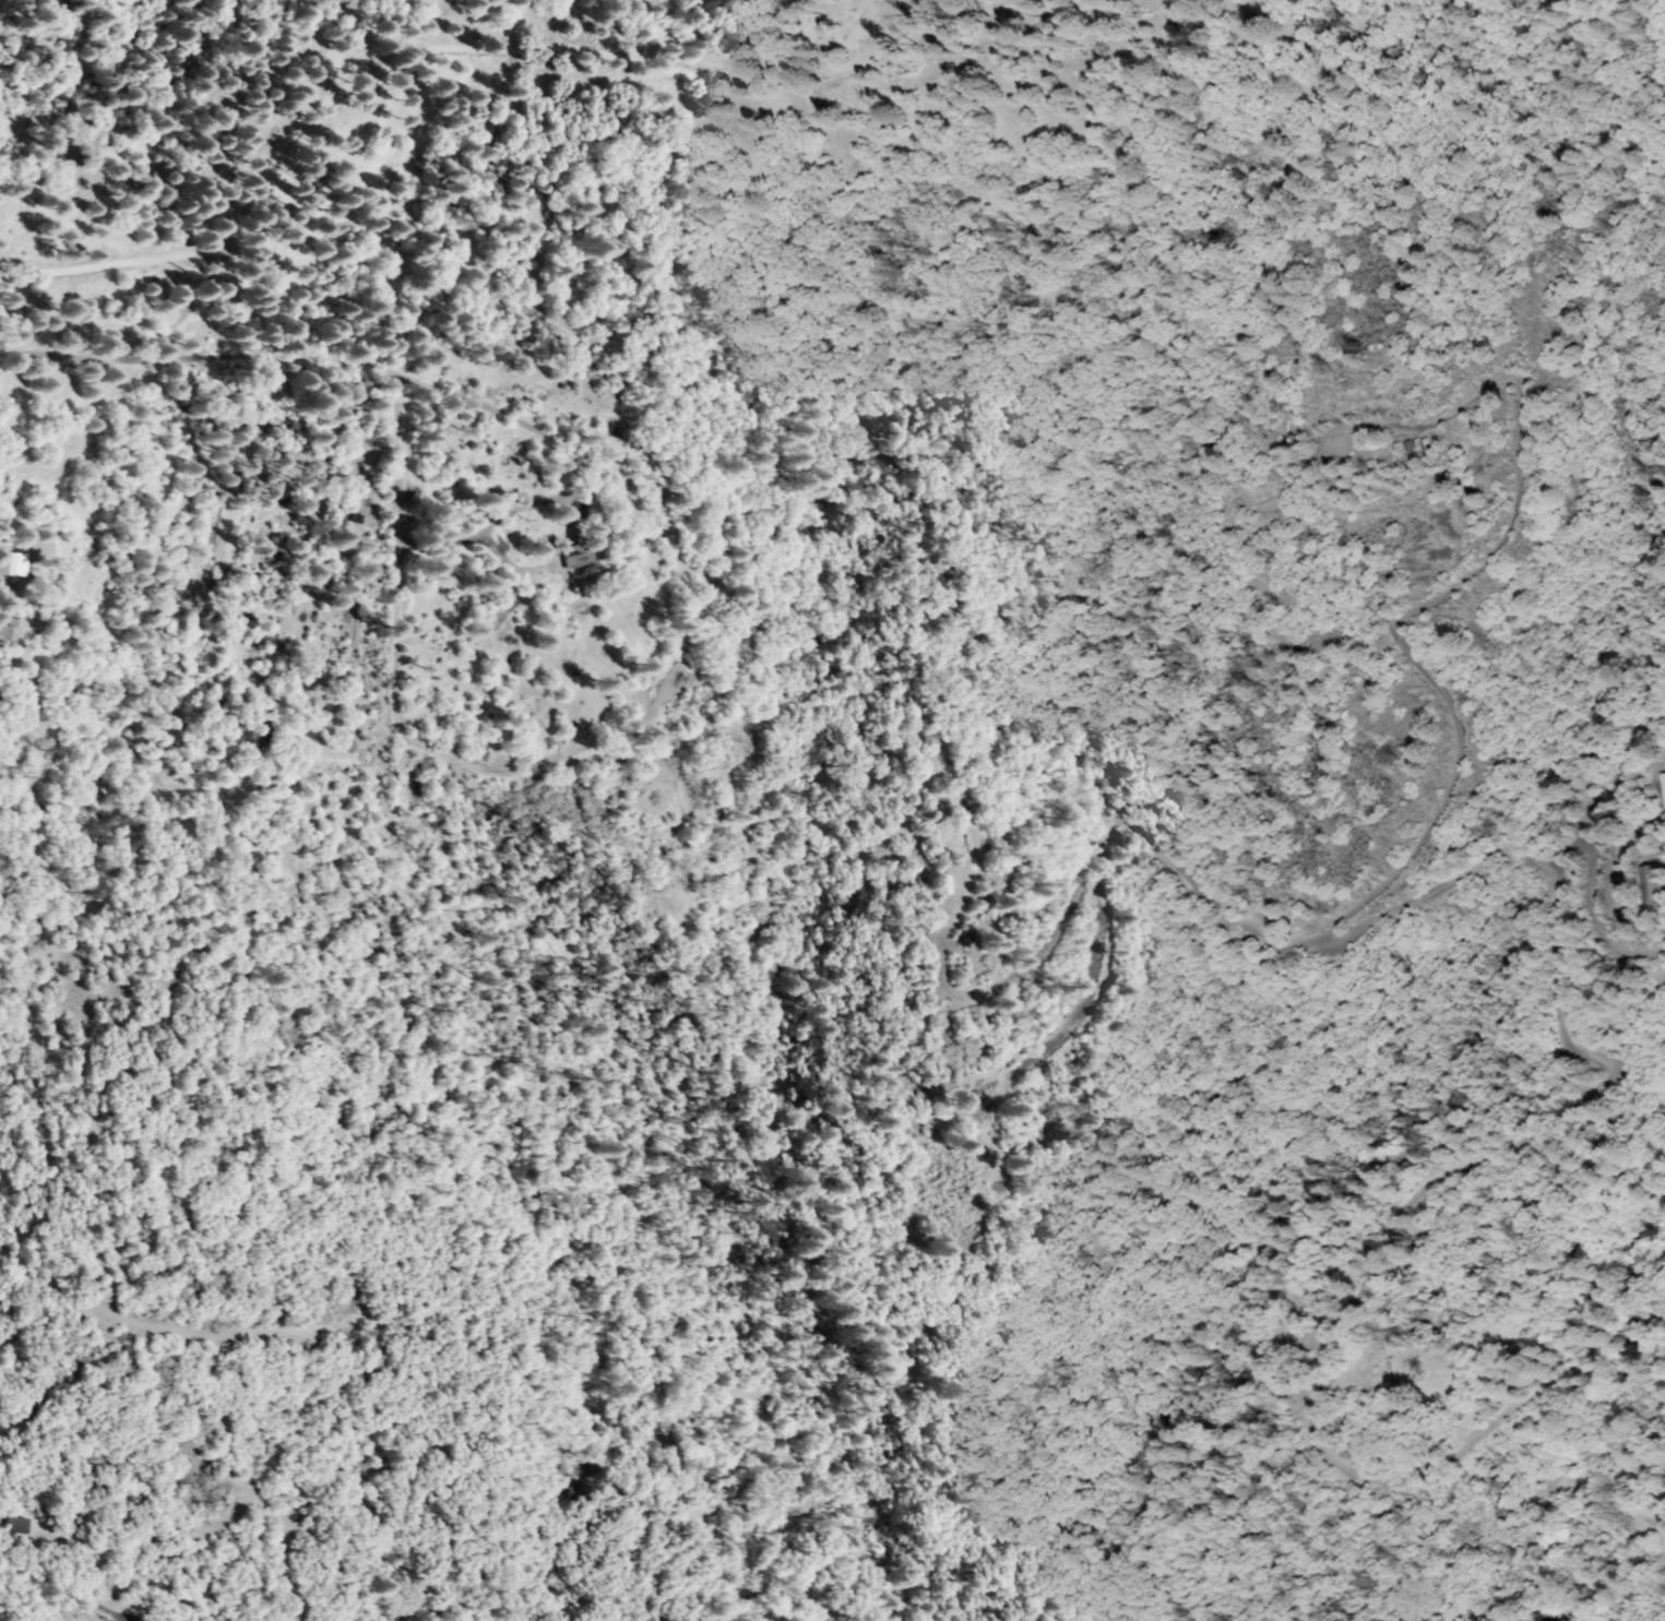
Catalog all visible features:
road: (1055, 2)
road: (464, 39)
building: (1415, 446)
building: (576, 557)
building: (13, 564)
building: (11, 632)
building: (1664, 778)
building: (1654, 884)
road: (1260, 925)
building: (17, 1526)

